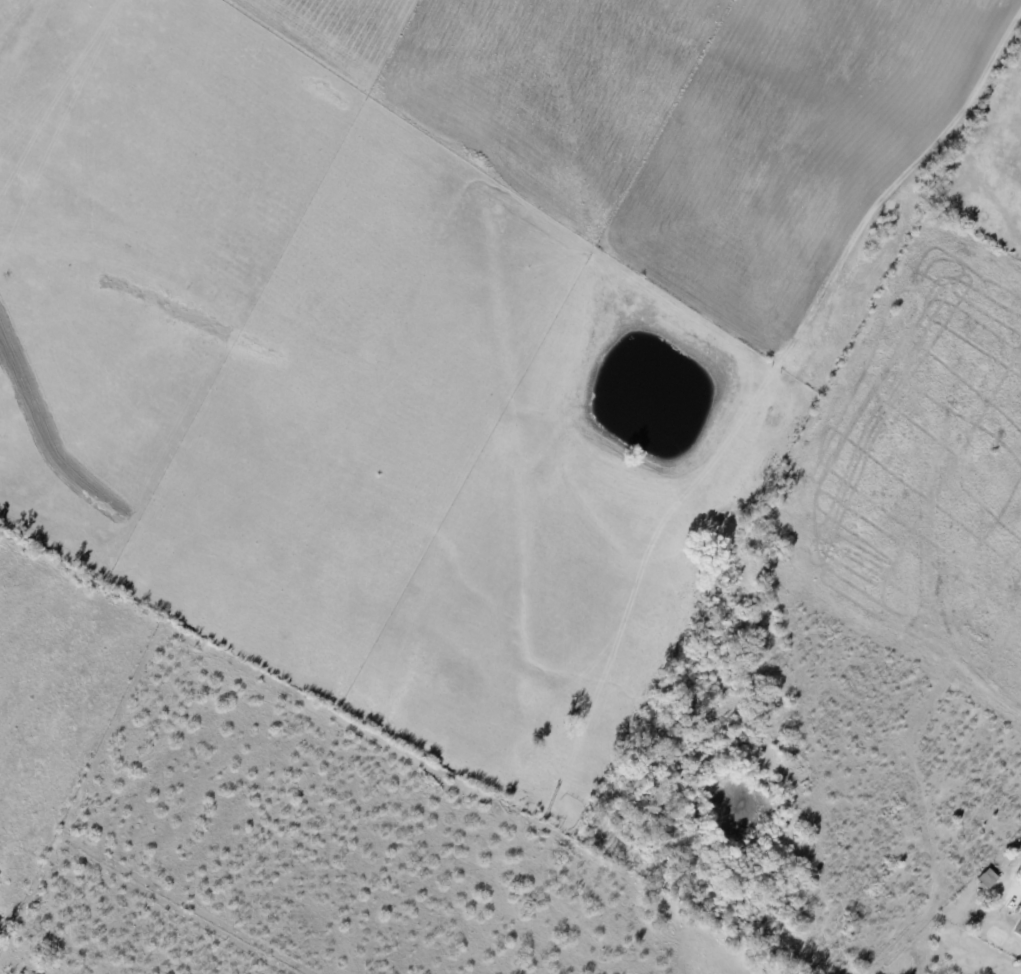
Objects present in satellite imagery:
building: (985, 877)
building: (1017, 927)

